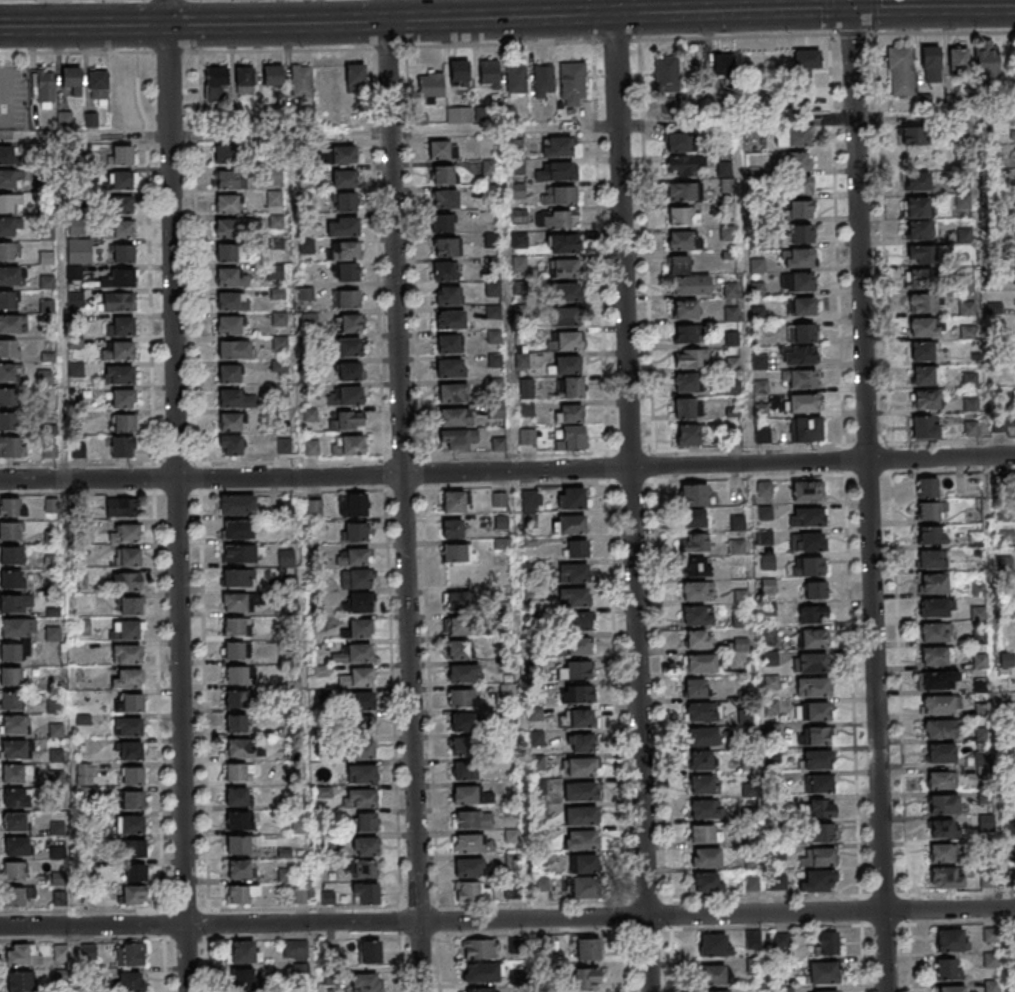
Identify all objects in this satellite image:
traffic signals: (850, 7)
road: (590, 13)
road: (875, 15)
road: (830, 16)
road: (83, 25)
road: (946, 31)
road: (853, 32)
road: (616, 40)
road: (388, 47)
road: (75, 51)
road: (169, 51)
road: (193, 51)
building: (806, 58)
building: (958, 58)
building: (986, 60)
building: (722, 63)
building: (930, 63)
building: (459, 70)
building: (900, 70)
building: (488, 73)
building: (666, 73)
building: (272, 75)
building: (355, 77)
building: (244, 80)
building: (543, 80)
building: (97, 81)
building: (517, 81)
building: (44, 82)
building: (70, 82)
building: (301, 82)
building: (216, 83)
building: (572, 83)
building: (431, 84)
building: (460, 115)
building: (90, 122)
road: (591, 125)
building: (1012, 129)
road: (84, 135)
building: (910, 135)
building: (792, 136)
building: (680, 141)
building: (556, 146)
building: (440, 149)
building: (344, 155)
building: (9, 156)
building: (121, 156)
building: (225, 157)
building: (798, 161)
building: (680, 165)
building: (558, 171)
building: (441, 173)
building: (274, 176)
building: (344, 178)
building: (10, 179)
building: (917, 181)
building: (121, 183)
building: (227, 183)
building: (799, 185)
building: (684, 190)
building: (558, 194)
building: (274, 198)
building: (444, 198)
building: (10, 201)
building: (343, 201)
building: (962, 201)
building: (122, 207)
building: (227, 207)
building: (916, 207)
building: (800, 209)
building: (683, 215)
building: (557, 218)
building: (441, 221)
building: (343, 226)
building: (9, 228)
building: (76, 228)
building: (118, 230)
building: (918, 230)
building: (226, 231)
building: (727, 233)
building: (799, 233)
building: (964, 234)
building: (683, 239)
building: (518, 240)
building: (562, 243)
building: (306, 246)
building: (444, 246)
building: (9, 250)
building: (346, 250)
building: (79, 251)
building: (917, 254)
building: (227, 256)
building: (124, 257)
building: (797, 257)
building: (679, 264)
building: (565, 268)
building: (274, 271)
building: (444, 271)
building: (345, 272)
building: (74, 273)
building: (10, 275)
building: (919, 278)
building: (123, 281)
building: (227, 281)
building: (47, 282)
building: (797, 282)
building: (690, 284)
building: (492, 288)
building: (566, 292)
building: (447, 295)
building: (9, 298)
building: (75, 299)
building: (349, 299)
road: (886, 299)
building: (117, 302)
building: (922, 303)
building: (227, 305)
building: (802, 306)
building: (684, 309)
building: (565, 316)
building: (449, 319)
building: (13, 323)
building: (352, 323)
building: (924, 327)
building: (228, 329)
building: (122, 330)
building: (802, 332)
road: (150, 333)
building: (683, 333)
building: (566, 340)
building: (449, 343)
building: (349, 346)
building: (8, 347)
building: (234, 349)
building: (923, 351)
building: (122, 354)
building: (799, 355)
building: (690, 357)
building: (566, 364)
building: (449, 367)
building: (348, 371)
building: (10, 373)
building: (924, 375)
building: (118, 377)
building: (228, 377)
building: (799, 379)
building: (685, 382)
building: (572, 387)
building: (760, 387)
building: (452, 392)
building: (347, 396)
building: (8, 398)
building: (926, 400)
building: (121, 402)
building: (229, 402)
building: (803, 403)
building: (685, 408)
building: (526, 409)
building: (497, 410)
building: (568, 413)
building: (455, 416)
building: (348, 420)
building: (8, 422)
building: (124, 422)
building: (230, 425)
building: (925, 426)
building: (971, 428)
building: (805, 429)
building: (688, 434)
building: (568, 437)
building: (457, 438)
building: (528, 440)
building: (497, 443)
building: (350, 445)
building: (122, 446)
building: (11, 447)
building: (311, 447)
building: (231, 449)
building: (77, 450)
road: (652, 450)
road: (420, 456)
road: (207, 462)
road: (507, 471)
building: (926, 487)
building: (807, 490)
building: (695, 494)
road: (402, 495)
road: (175, 496)
building: (531, 496)
road: (630, 496)
road: (867, 496)
building: (570, 497)
building: (499, 499)
building: (453, 501)
building: (352, 504)
building: (237, 505)
building: (12, 506)
building: (121, 507)
building: (928, 511)
building: (807, 515)
building: (692, 518)
building: (491, 522)
building: (737, 522)
building: (568, 524)
building: (452, 528)
building: (11, 530)
building: (238, 530)
building: (354, 531)
building: (124, 533)
building: (930, 535)
building: (765, 537)
building: (809, 541)
building: (694, 542)
building: (736, 546)
building: (576, 548)
building: (11, 553)
building: (458, 553)
building: (239, 554)
building: (354, 556)
building: (130, 557)
building: (286, 557)
building: (929, 559)
building: (696, 566)
building: (807, 566)
building: (573, 573)
building: (237, 576)
building: (10, 578)
building: (355, 578)
building: (126, 582)
building: (933, 584)
building: (815, 589)
building: (696, 590)
building: (741, 596)
building: (574, 597)
building: (457, 600)
building: (238, 601)
building: (14, 602)
building: (357, 603)
building: (131, 606)
building: (934, 607)
building: (977, 612)
building: (812, 613)
building: (696, 615)
building: (578, 620)
building: (739, 620)
building: (232, 626)
building: (456, 626)
building: (357, 629)
building: (125, 630)
building: (934, 632)
building: (53, 634)
building: (812, 638)
building: (698, 639)
building: (16, 640)
building: (577, 646)
building: (232, 650)
building: (458, 650)
building: (126, 653)
building: (353, 653)
building: (937, 655)
building: (810, 662)
building: (699, 663)
building: (506, 666)
building: (573, 669)
building: (233, 674)
building: (10, 675)
building: (463, 675)
building: (358, 677)
building: (128, 678)
building: (938, 680)
building: (695, 687)
building: (812, 687)
building: (574, 694)
building: (234, 698)
building: (461, 699)
building: (361, 700)
building: (10, 701)
building: (132, 703)
building: (937, 705)
building: (812, 710)
building: (702, 711)
building: (576, 718)
building: (234, 722)
building: (461, 722)
building: (13, 723)
road: (203, 724)
building: (359, 724)
building: (128, 726)
road: (157, 728)
building: (940, 728)
building: (816, 735)
building: (701, 736)
building: (580, 743)
building: (234, 746)
building: (462, 747)
building: (13, 749)
building: (359, 749)
building: (130, 750)
building: (939, 753)
building: (815, 759)
building: (699, 760)
building: (579, 766)
building: (233, 771)
building: (462, 771)
building: (17, 773)
building: (361, 774)
building: (134, 776)
building: (941, 780)
building: (821, 783)
building: (702, 785)
building: (579, 791)
building: (233, 795)
building: (15, 797)
building: (133, 799)
building: (361, 799)
building: (942, 804)
building: (703, 808)
building: (821, 808)
building: (580, 815)
building: (234, 819)
building: (472, 819)
building: (15, 821)
building: (367, 822)
building: (129, 824)
building: (298, 825)
building: (942, 828)
building: (822, 832)
building: (704, 833)
building: (512, 835)
building: (581, 839)
building: (234, 844)
building: (471, 844)
building: (17, 845)
building: (364, 846)
building: (134, 849)
building: (940, 852)
building: (705, 857)
building: (822, 857)
building: (583, 863)
building: (468, 867)
building: (235, 868)
building: (365, 868)
building: (13, 871)
building: (134, 872)
building: (285, 875)
building: (945, 878)
building: (987, 880)
building: (814, 881)
building: (707, 882)
building: (543, 883)
building: (752, 883)
building: (582, 887)
building: (467, 892)
building: (366, 893)
building: (133, 894)
building: (236, 894)
building: (18, 895)
building: (300, 895)
building: (327, 897)
building: (58, 898)
road: (507, 920)
building: (990, 935)
building: (753, 939)
building: (951, 939)
building: (825, 943)
building: (715, 944)
building: (588, 949)
building: (89, 950)
building: (296, 950)
building: (479, 950)
building: (245, 951)
building: (368, 951)
building: (60, 954)
building: (129, 955)
building: (20, 956)
road: (671, 961)
building: (946, 968)
building: (822, 972)
building: (715, 973)
building: (481, 974)
building: (582, 978)
building: (243, 979)
building: (18, 982)
building: (130, 982)
building: (366, 982)
building: (991, 986)
building: (951, 989)
building: (479, 991)
building: (715, 991)
building: (821, 991)

